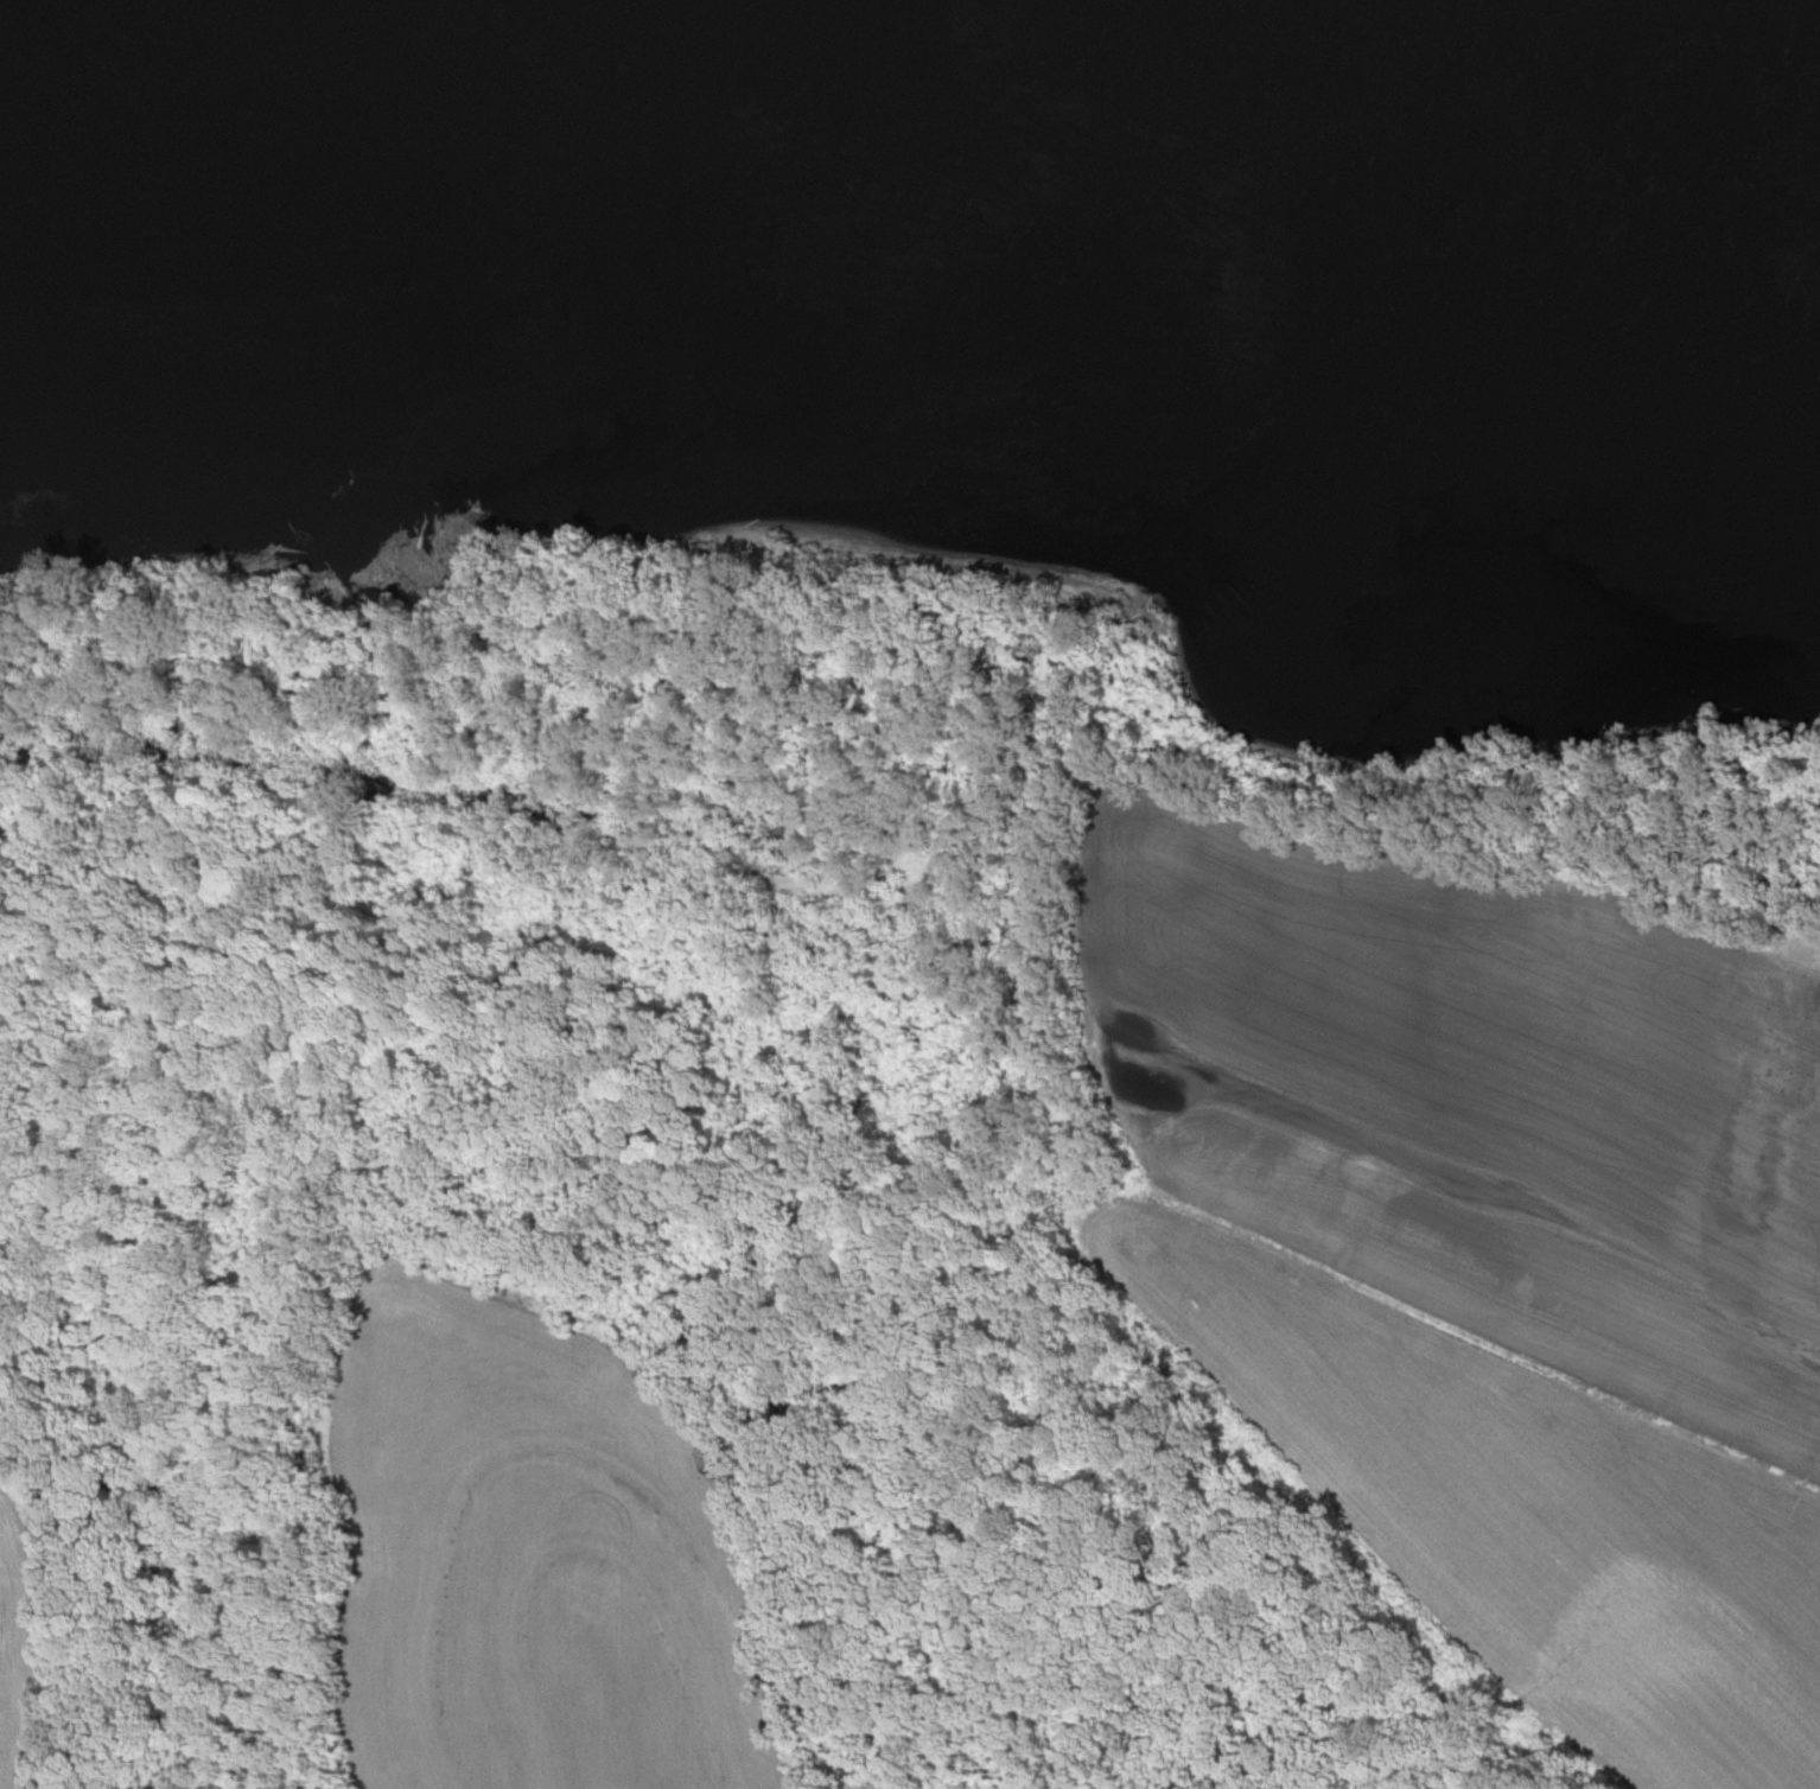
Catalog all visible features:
river: (917, 168)
crop: (1474, 1247)
crop: (532, 1552)
crop: (33, 1626)

